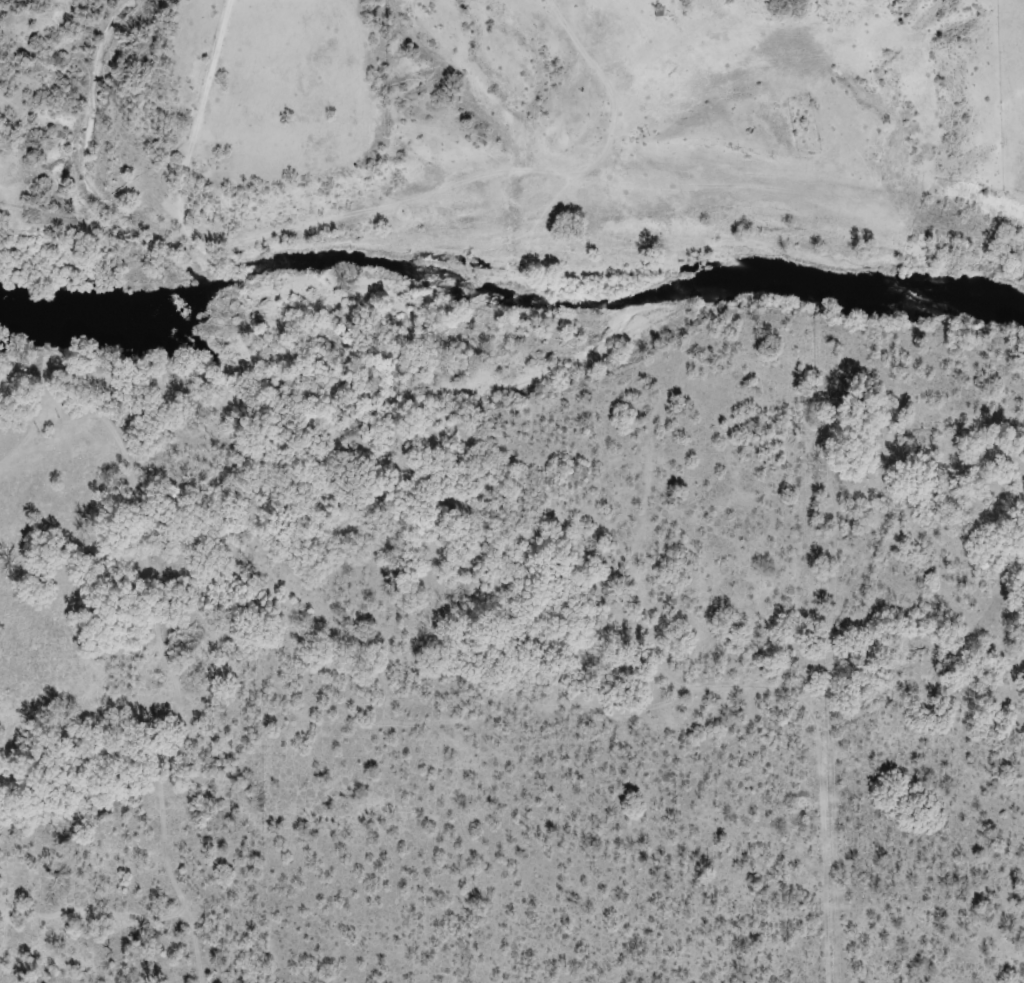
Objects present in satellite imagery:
road: (202, 87)
river: (511, 297)
road: (635, 681)

